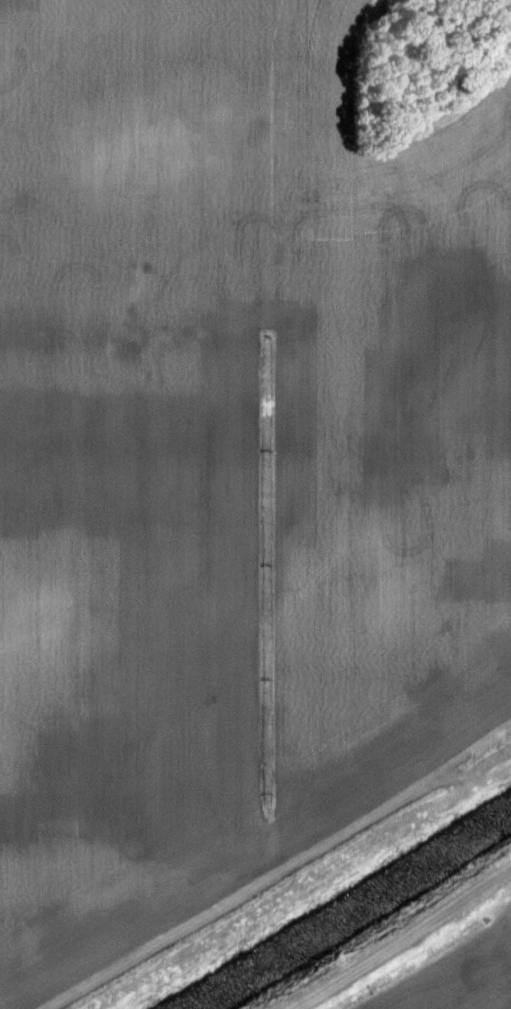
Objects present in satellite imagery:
road: (285, 869)

